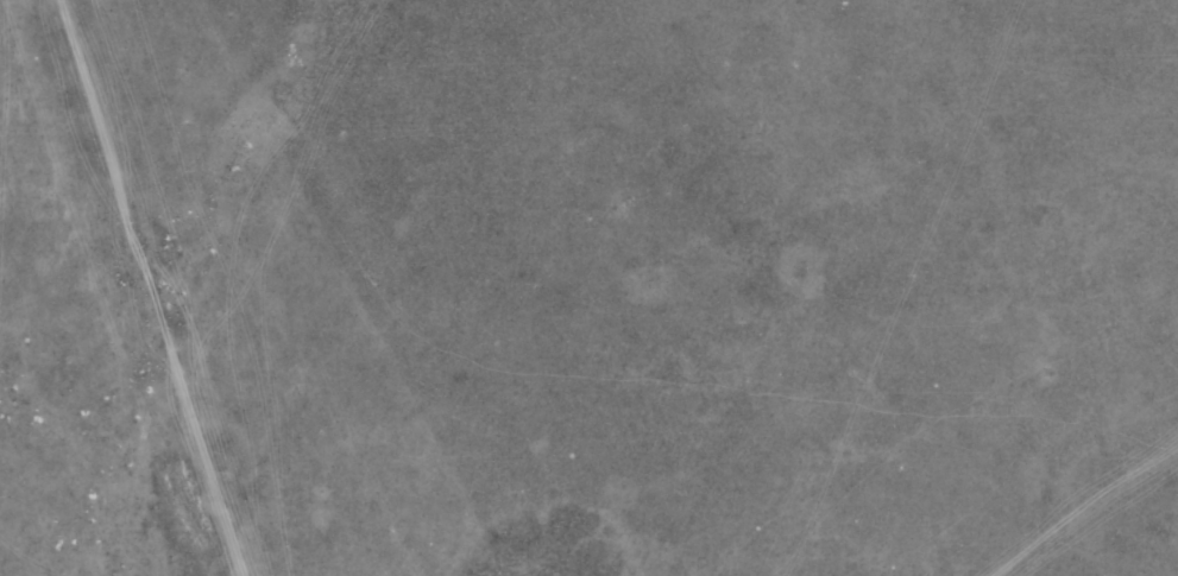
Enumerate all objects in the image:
road: (108, 289)

